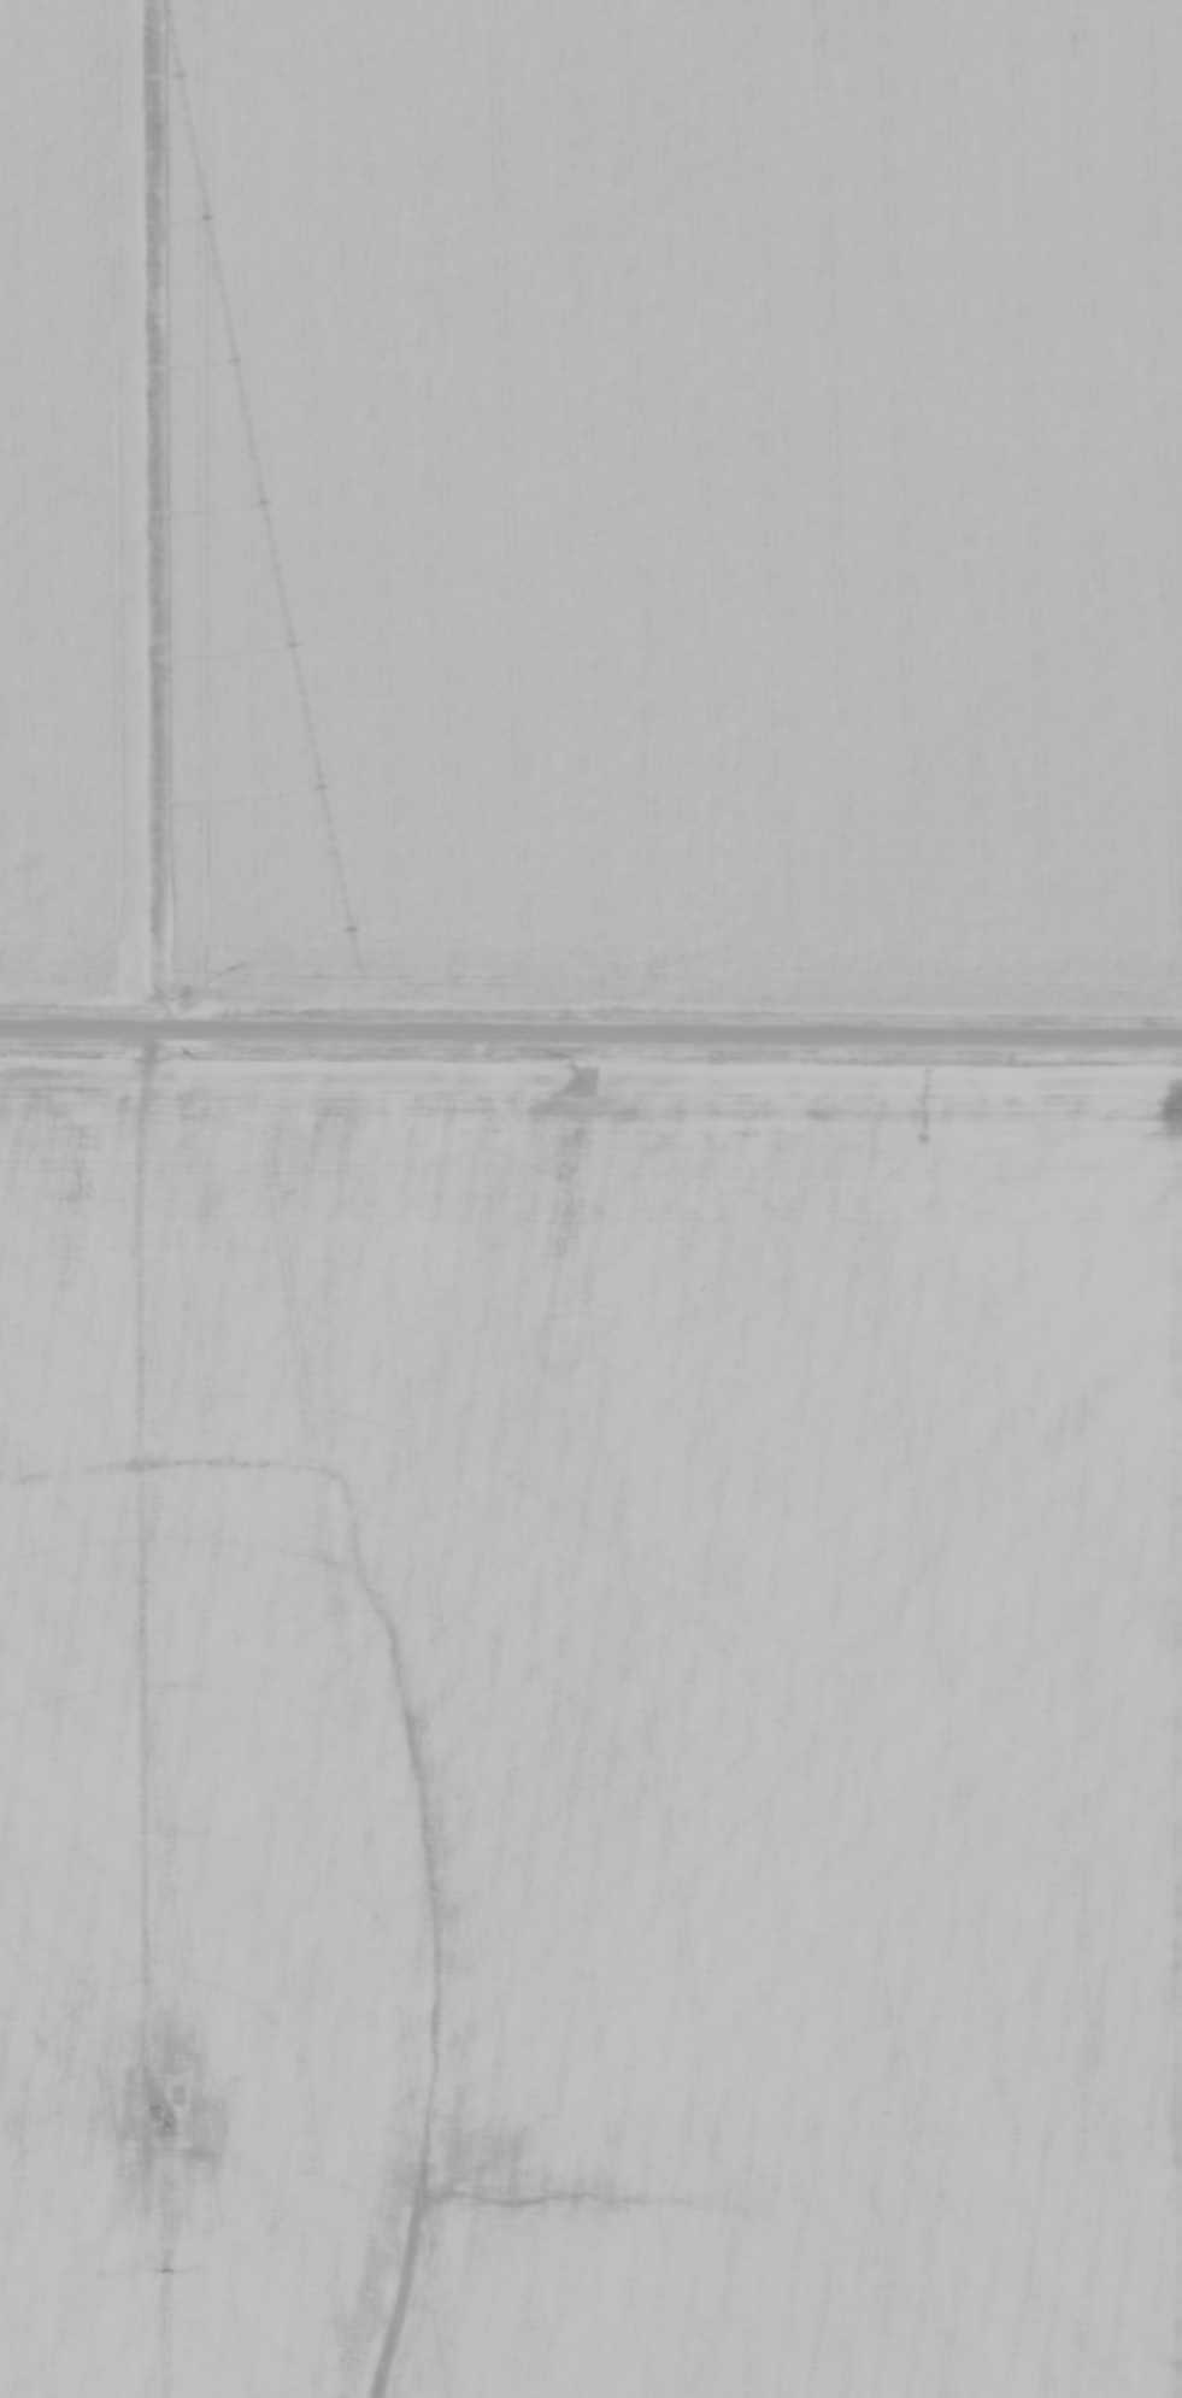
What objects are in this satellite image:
road: (590, 1038)

